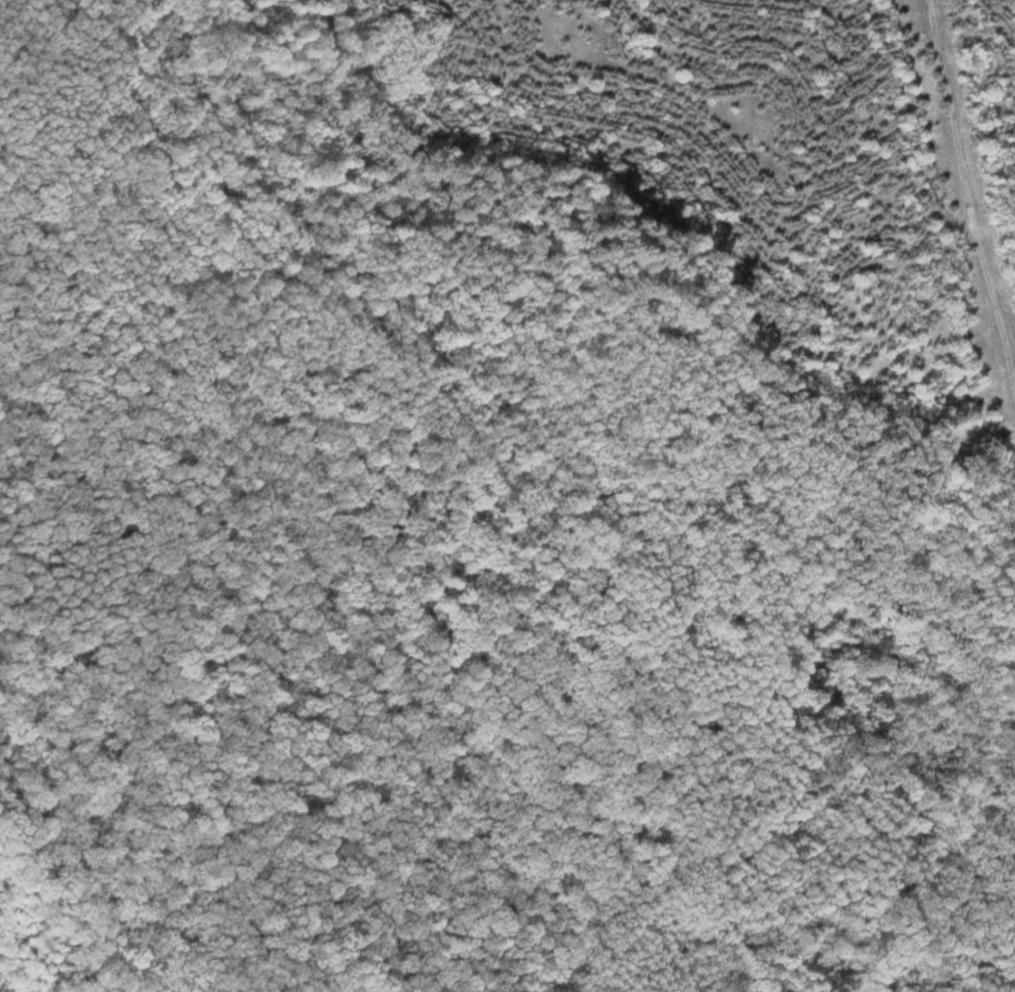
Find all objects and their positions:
road: (971, 185)

